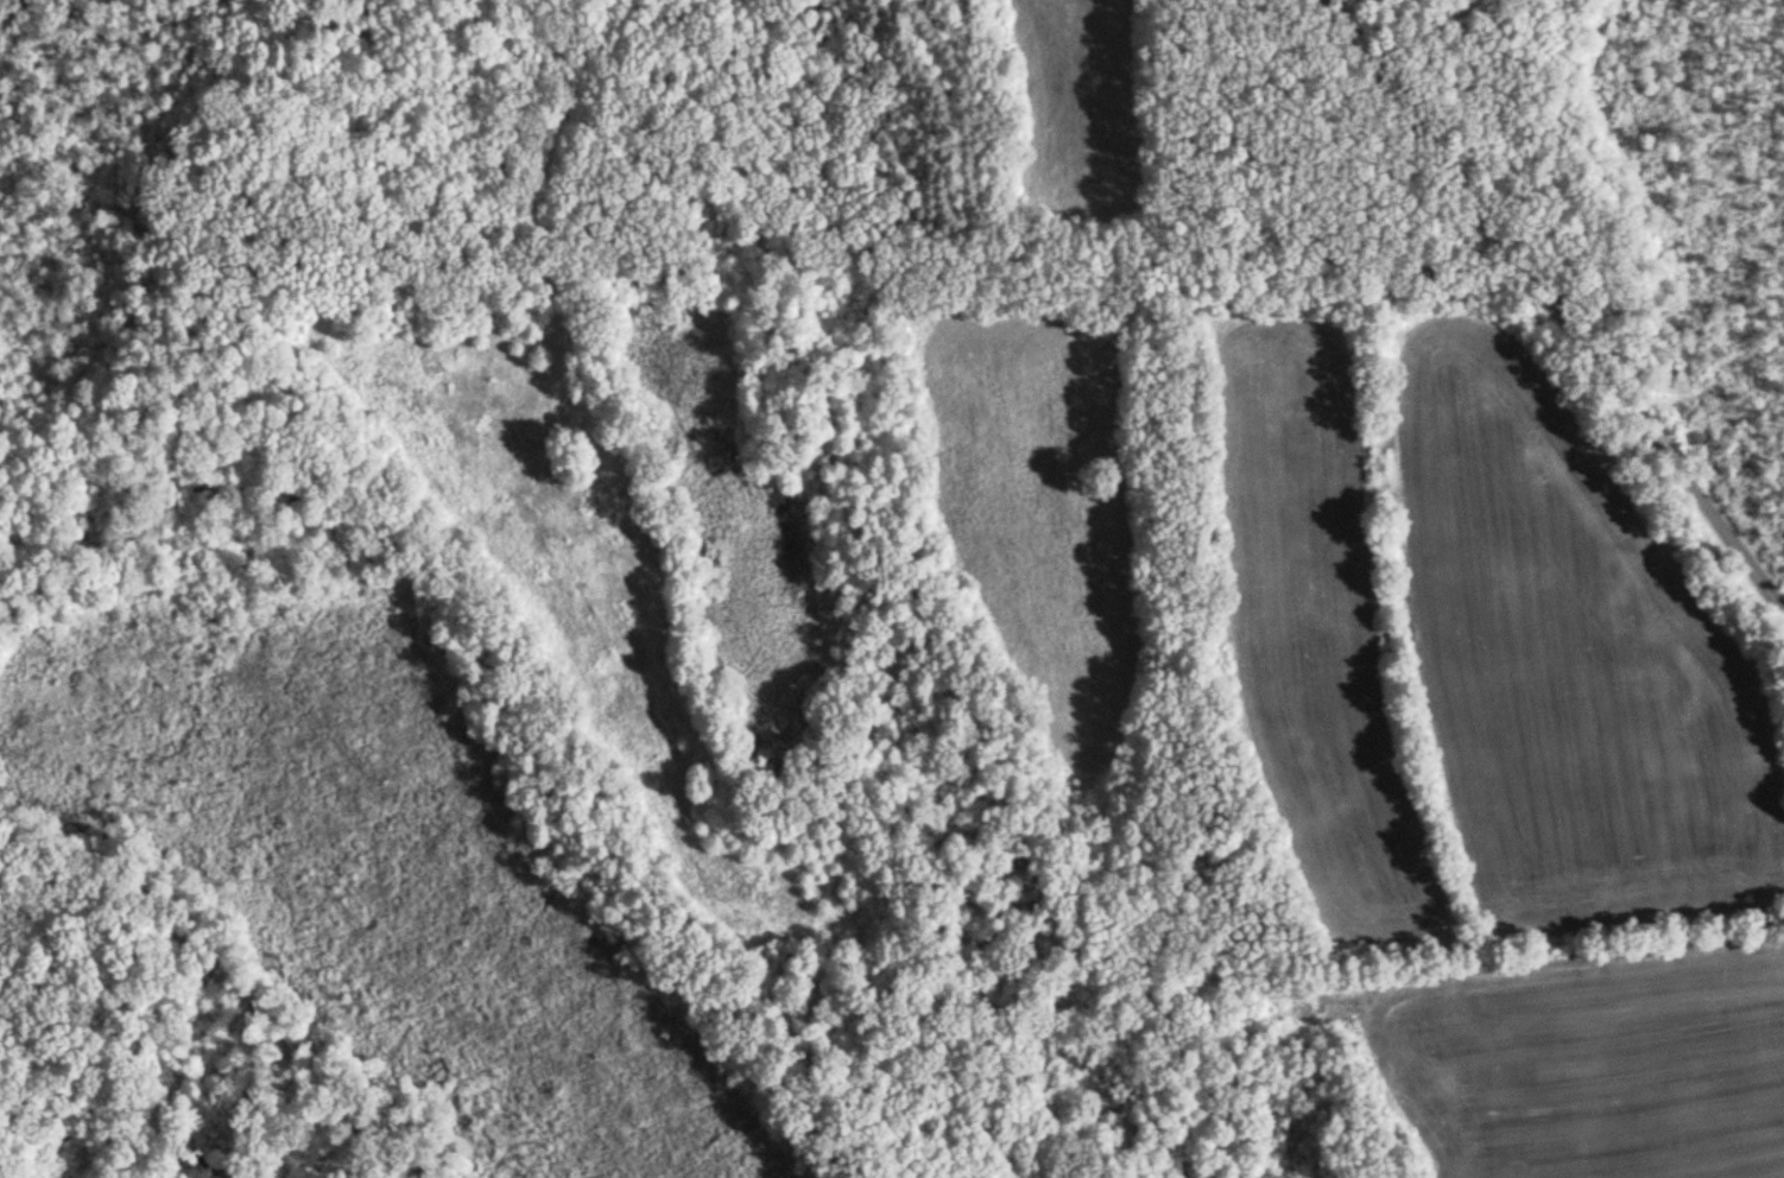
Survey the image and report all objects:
road: (1557, 303)

